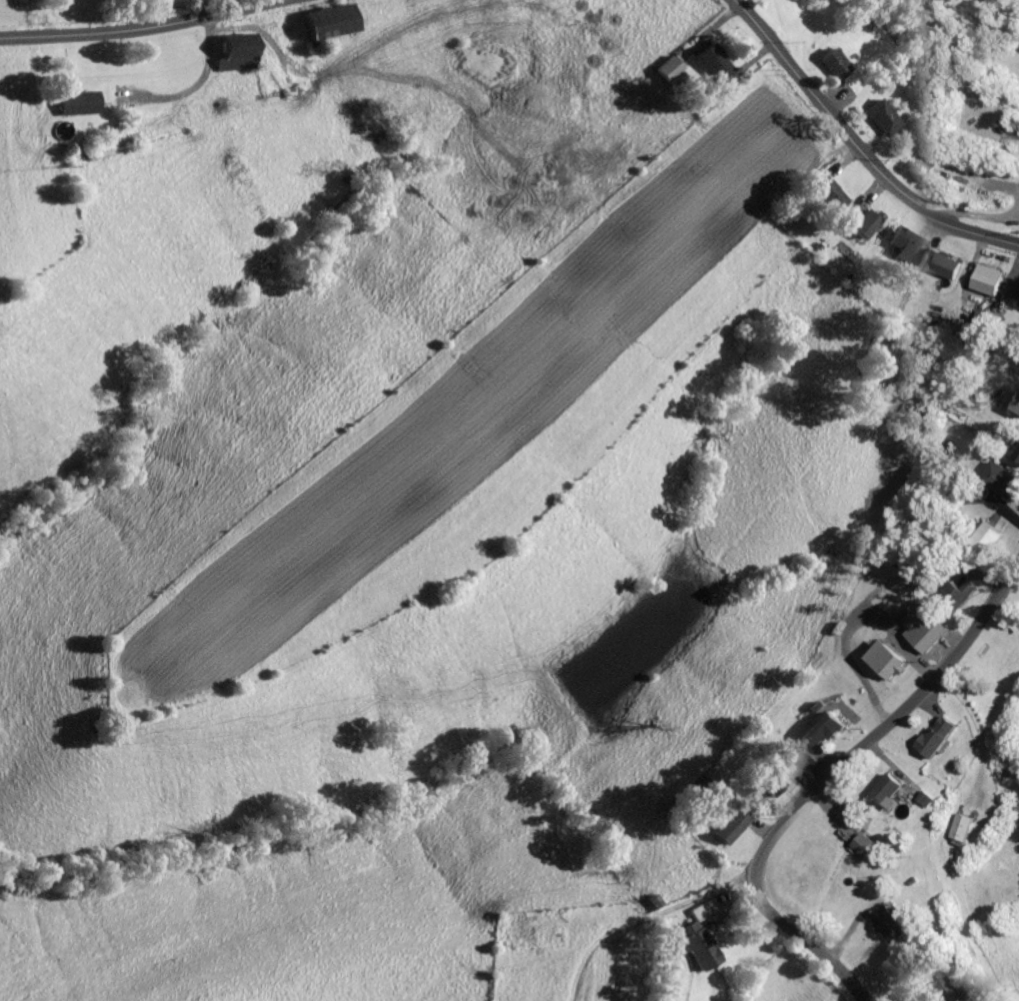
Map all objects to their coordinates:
building: (331, 19)
road: (126, 26)
building: (237, 50)
building: (831, 62)
building: (714, 64)
building: (668, 67)
building: (78, 101)
building: (876, 115)
road: (854, 149)
building: (823, 192)
building: (859, 222)
building: (900, 243)
building: (952, 263)
building: (997, 279)
road: (909, 286)
building: (903, 364)
building: (1018, 455)
building: (1004, 478)
building: (987, 537)
building: (958, 593)
building: (929, 631)
building: (888, 660)
building: (824, 729)
building: (940, 735)
building: (811, 760)
road: (817, 771)
building: (775, 783)
building: (891, 788)
building: (928, 798)
building: (729, 824)
building: (964, 829)
building: (869, 844)
building: (892, 923)
building: (695, 936)
building: (937, 985)

